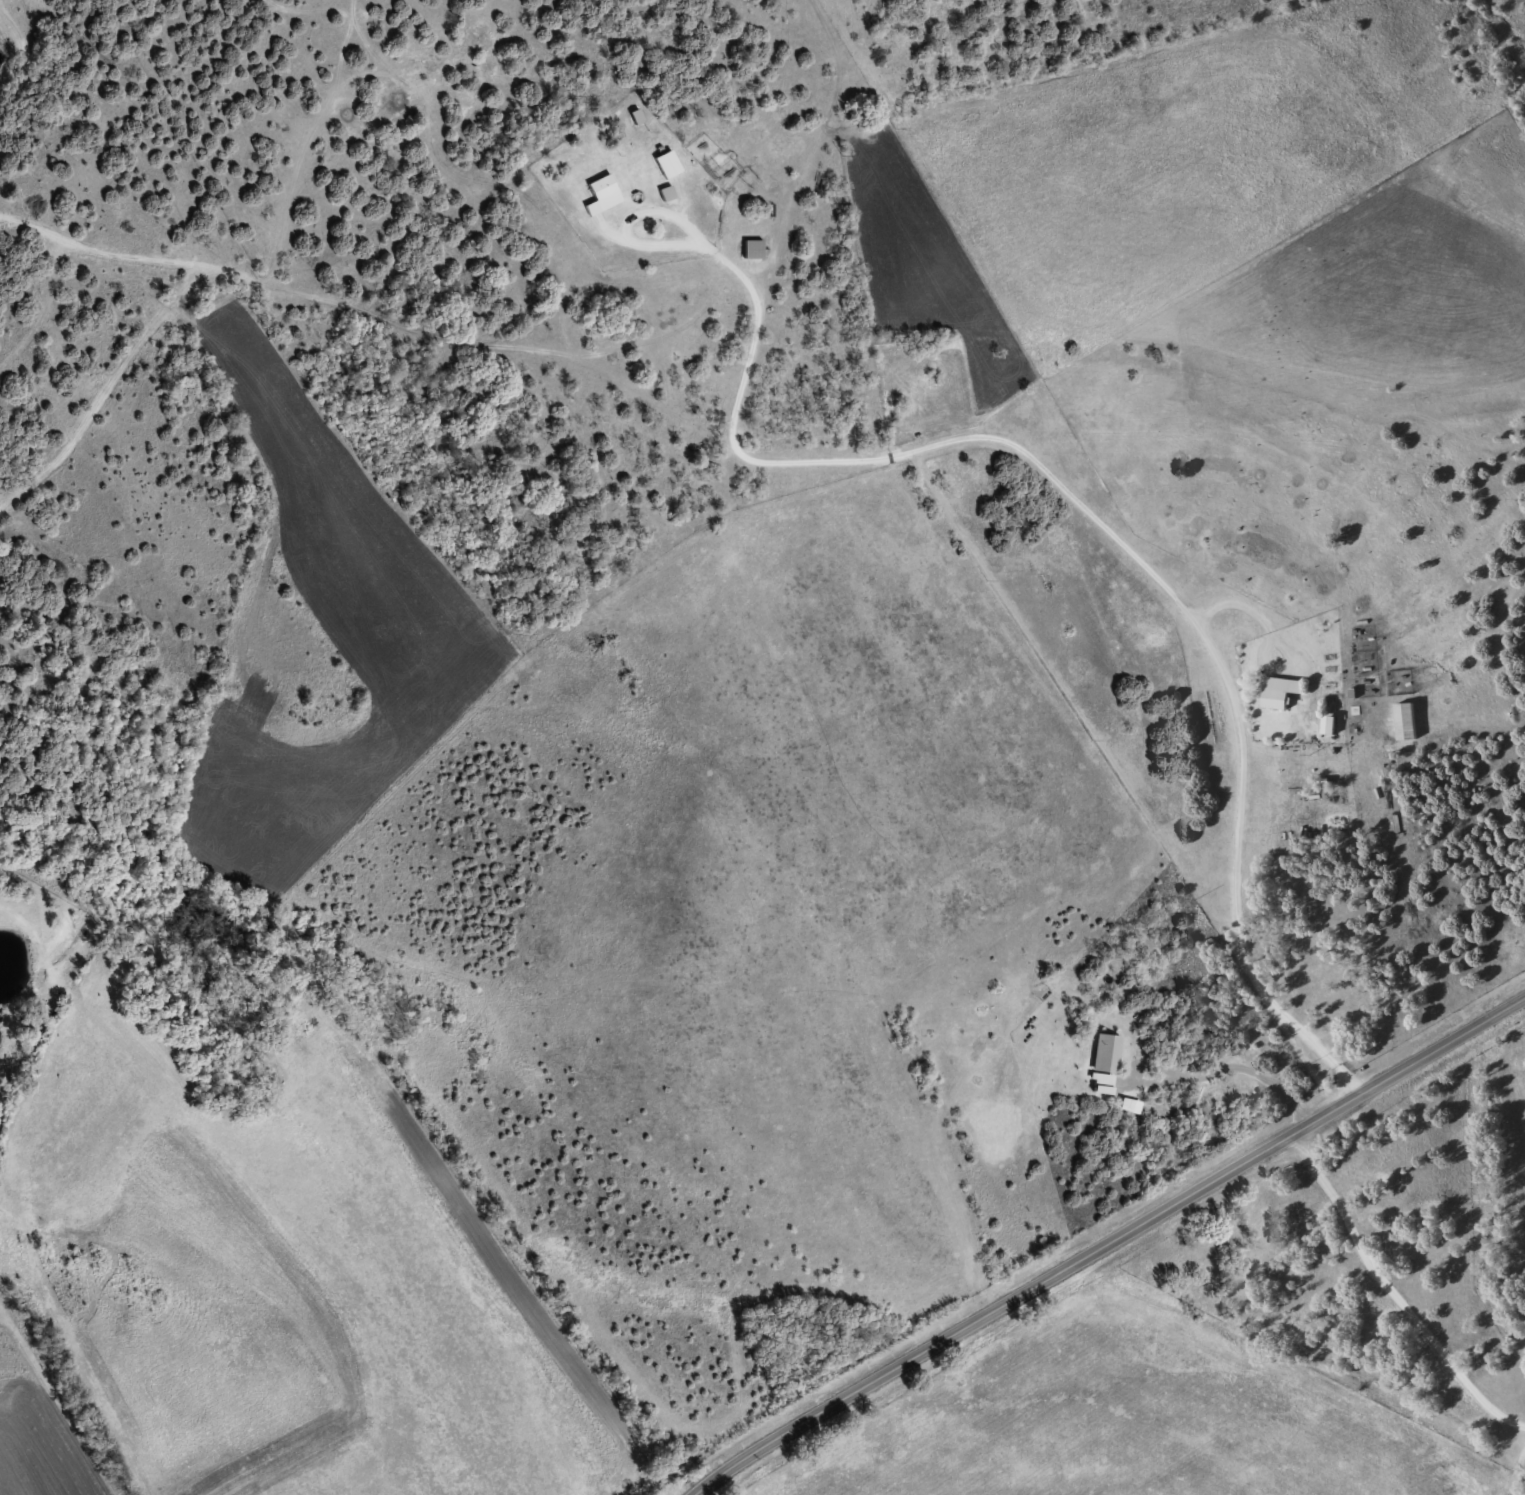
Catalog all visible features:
building: (669, 163)
building: (604, 194)
building: (755, 248)
building: (1275, 689)
building: (1323, 722)
road: (1112, 1244)
road: (1384, 1305)

